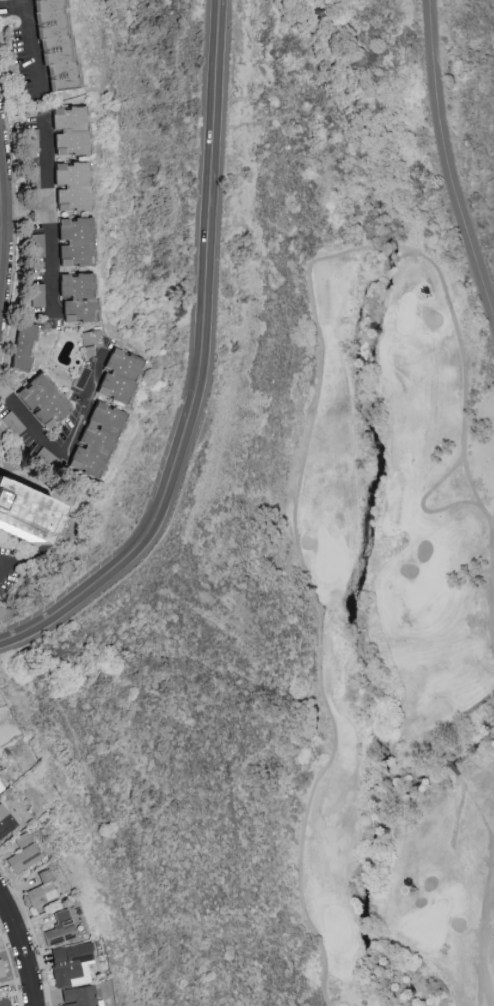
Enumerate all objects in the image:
road: (12, 6)
road: (29, 47)
building: (50, 47)
building: (31, 140)
building: (59, 185)
road: (22, 214)
road: (44, 218)
road: (0, 237)
building: (69, 242)
building: (37, 245)
building: (37, 295)
building: (73, 297)
park: (406, 314)
building: (89, 341)
building: (20, 345)
road: (201, 366)
building: (114, 376)
building: (39, 401)
road: (314, 404)
building: (92, 440)
road: (57, 455)
road: (470, 482)
park: (290, 513)
building: (16, 530)
park: (328, 557)
park: (424, 590)
park: (385, 628)
building: (0, 789)
road: (487, 820)
building: (5, 821)
building: (22, 854)
building: (40, 890)
park: (429, 921)
park: (336, 926)
building: (57, 928)
road: (25, 947)
building: (69, 964)
building: (1, 971)
building: (77, 997)
building: (4, 1001)

